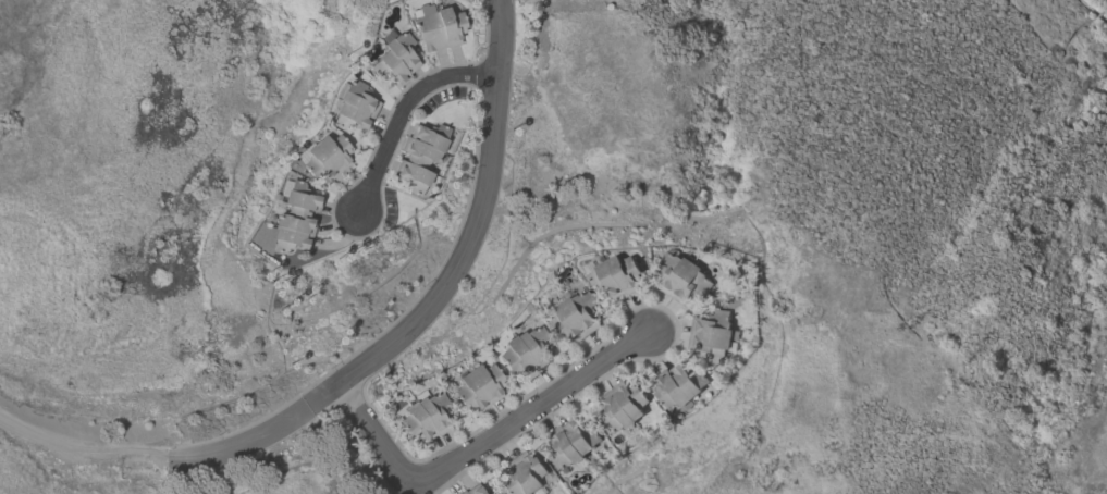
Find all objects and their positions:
building: (436, 26)
building: (395, 59)
road: (404, 104)
building: (354, 106)
building: (420, 156)
building: (325, 157)
building: (295, 219)
building: (617, 274)
building: (681, 276)
building: (575, 317)
building: (710, 335)
road: (365, 351)
building: (525, 351)
building: (677, 384)
building: (478, 386)
building: (622, 405)
building: (425, 416)
road: (482, 432)
building: (570, 443)
building: (521, 474)
building: (472, 490)
building: (488, 493)

